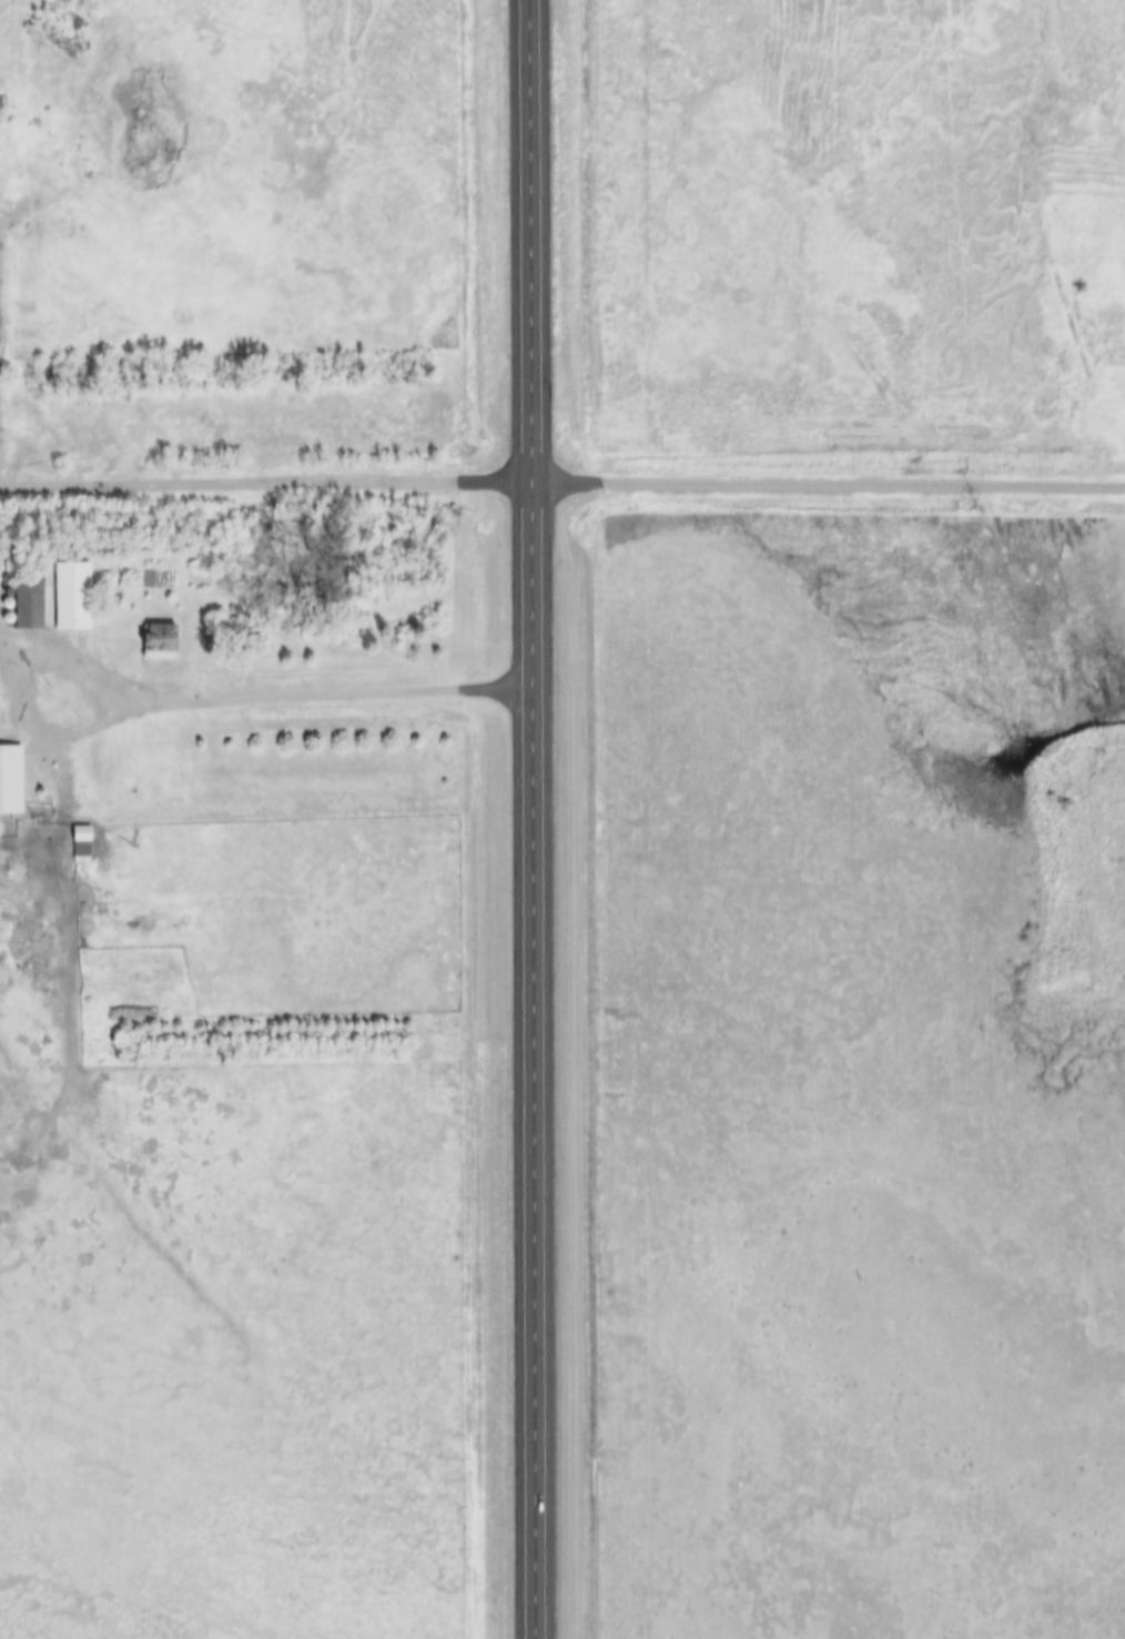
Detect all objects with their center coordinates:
road: (6, 343)
road: (273, 484)
road: (835, 485)
building: (36, 603)
building: (165, 640)
road: (234, 694)
building: (0, 702)
building: (13, 782)
road: (548, 819)
building: (85, 842)

